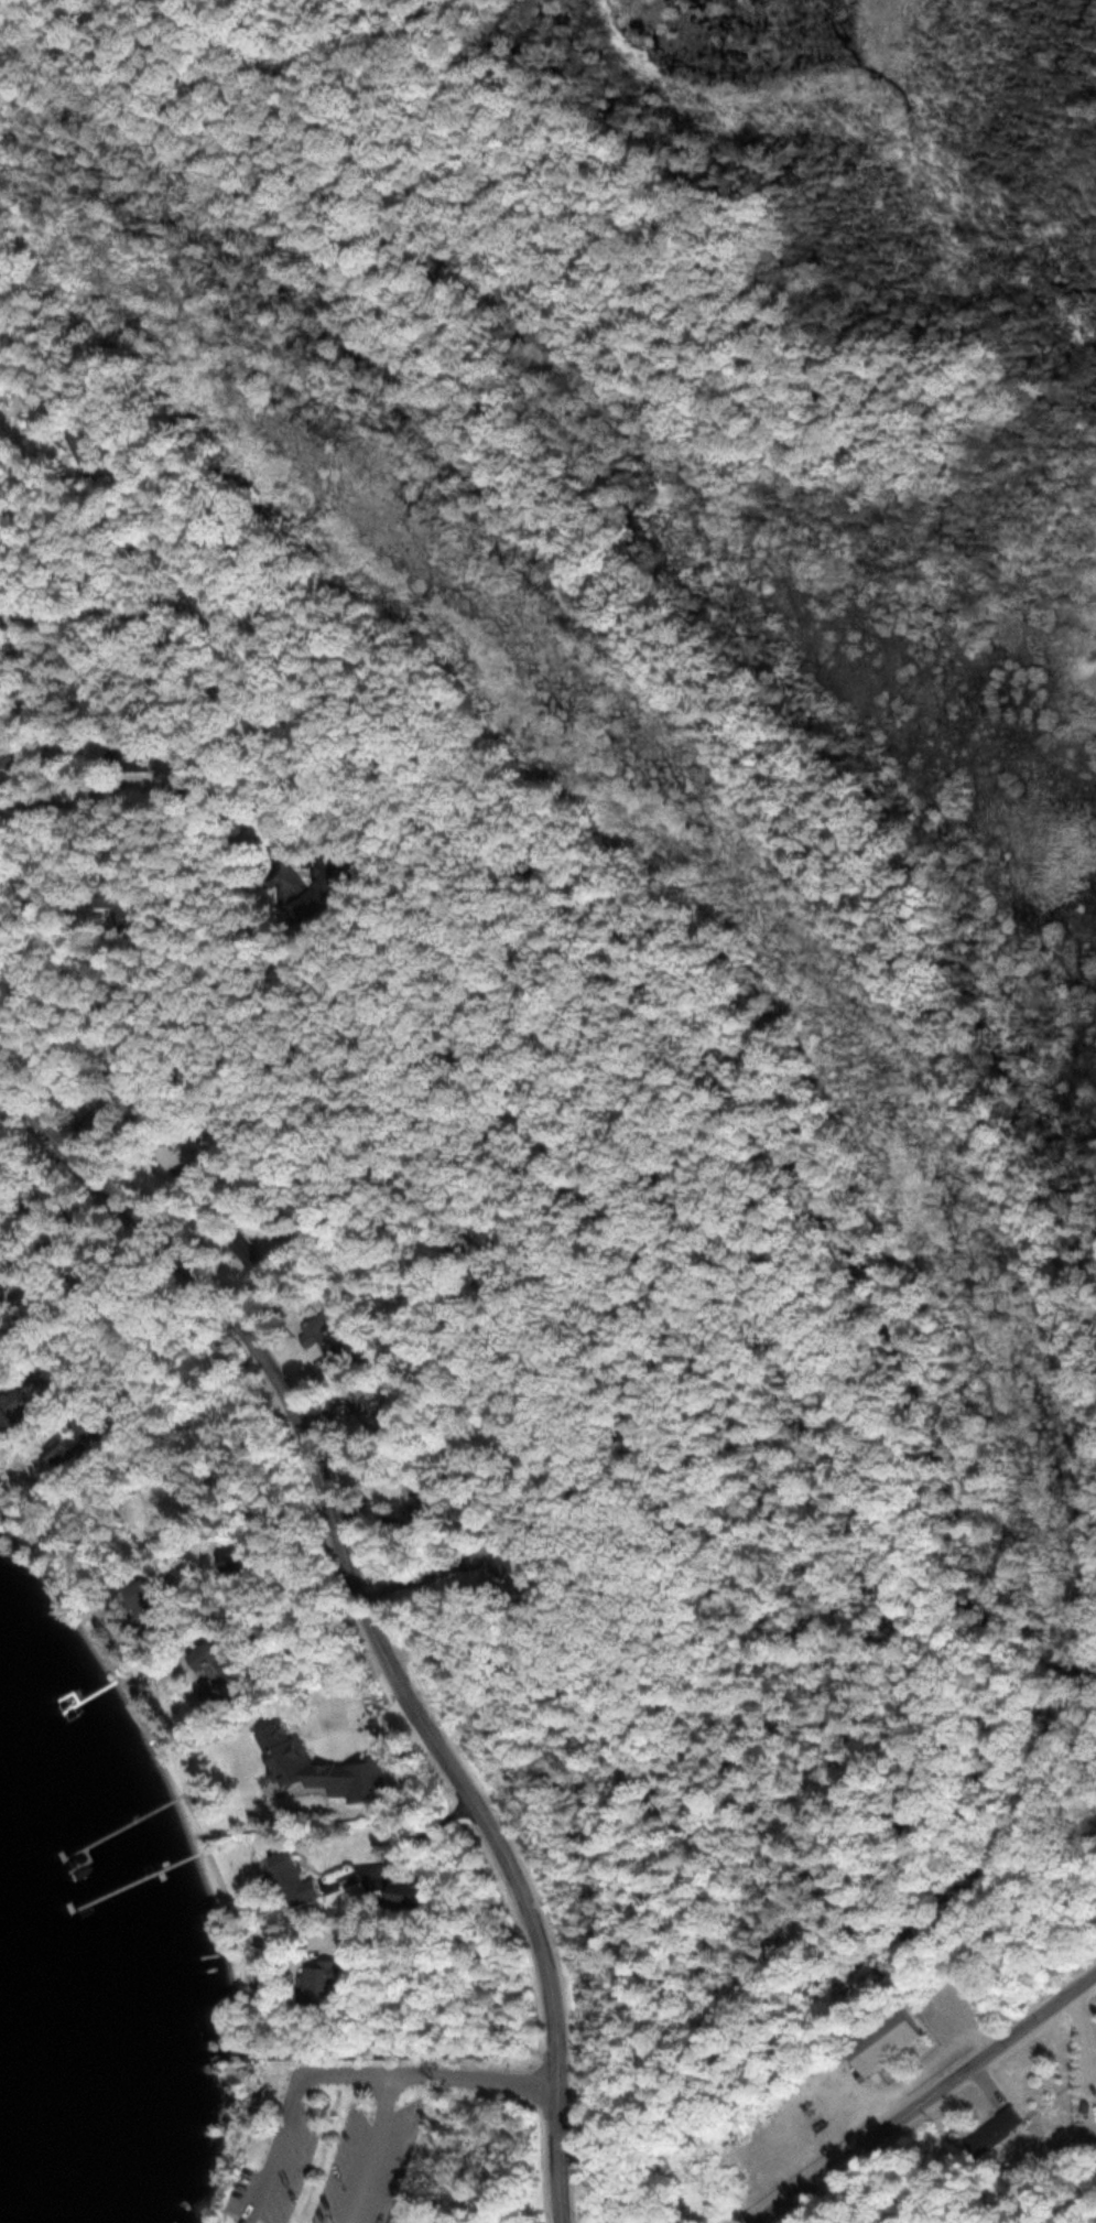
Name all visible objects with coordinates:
road: (424, 197)
road: (803, 338)
building: (88, 445)
road: (19, 547)
road: (631, 585)
road: (811, 684)
building: (132, 755)
building: (321, 892)
building: (117, 903)
building: (91, 1121)
building: (175, 1152)
building: (248, 1254)
building: (0, 1314)
building: (316, 1328)
building: (23, 1399)
building: (75, 1437)
building: (232, 1557)
building: (469, 1579)
building: (135, 1591)
road: (369, 1610)
building: (203, 1653)
building: (208, 1691)
building: (295, 1759)
building: (366, 1777)
building: (292, 1878)
building: (403, 1891)
building: (322, 1984)
building: (882, 2039)
road: (477, 2075)
road: (925, 2098)
road: (289, 2107)
building: (996, 2130)
road: (375, 2147)
parking lot: (367, 2166)
parking lot: (275, 2173)

